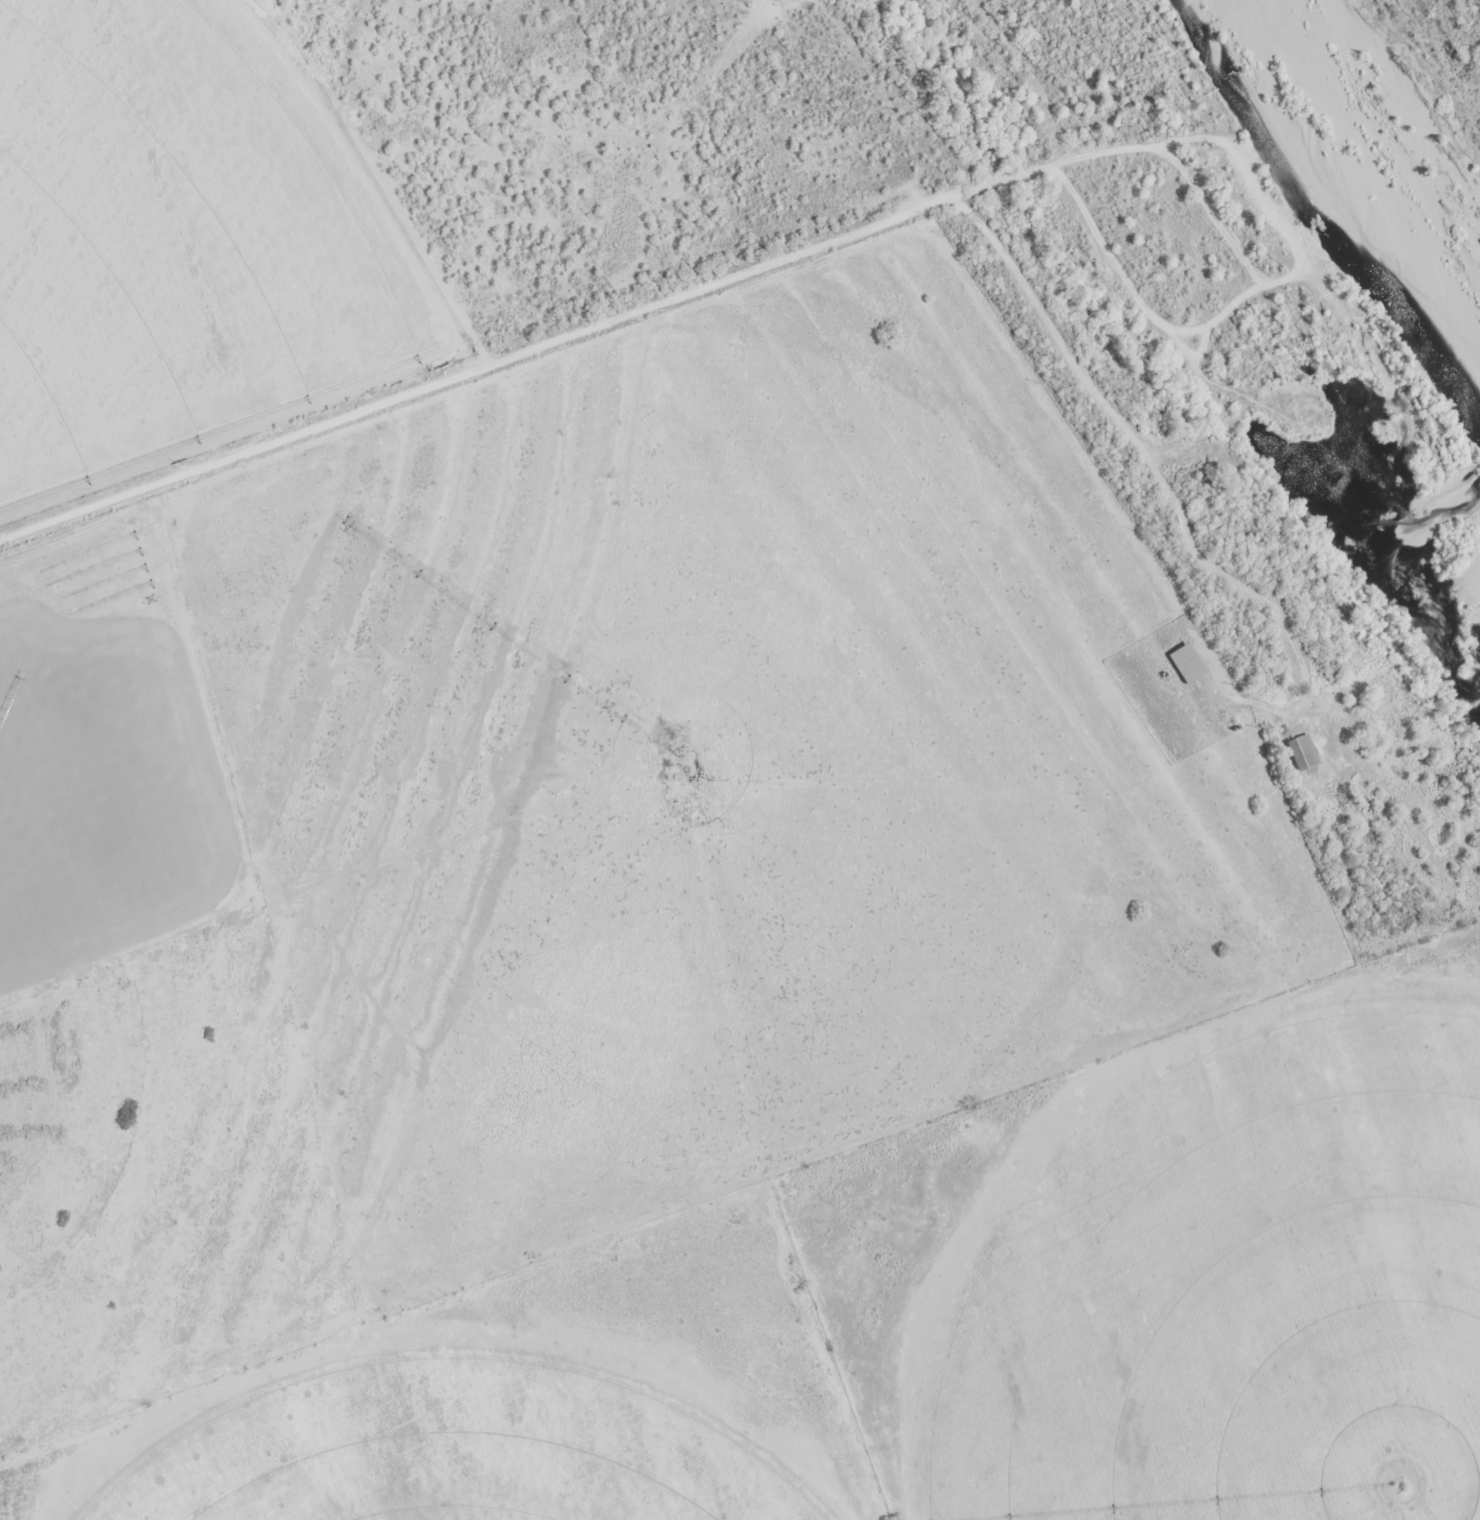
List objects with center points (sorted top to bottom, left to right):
river: (1358, 179)
road: (528, 347)
building: (1183, 662)
building: (1300, 752)

